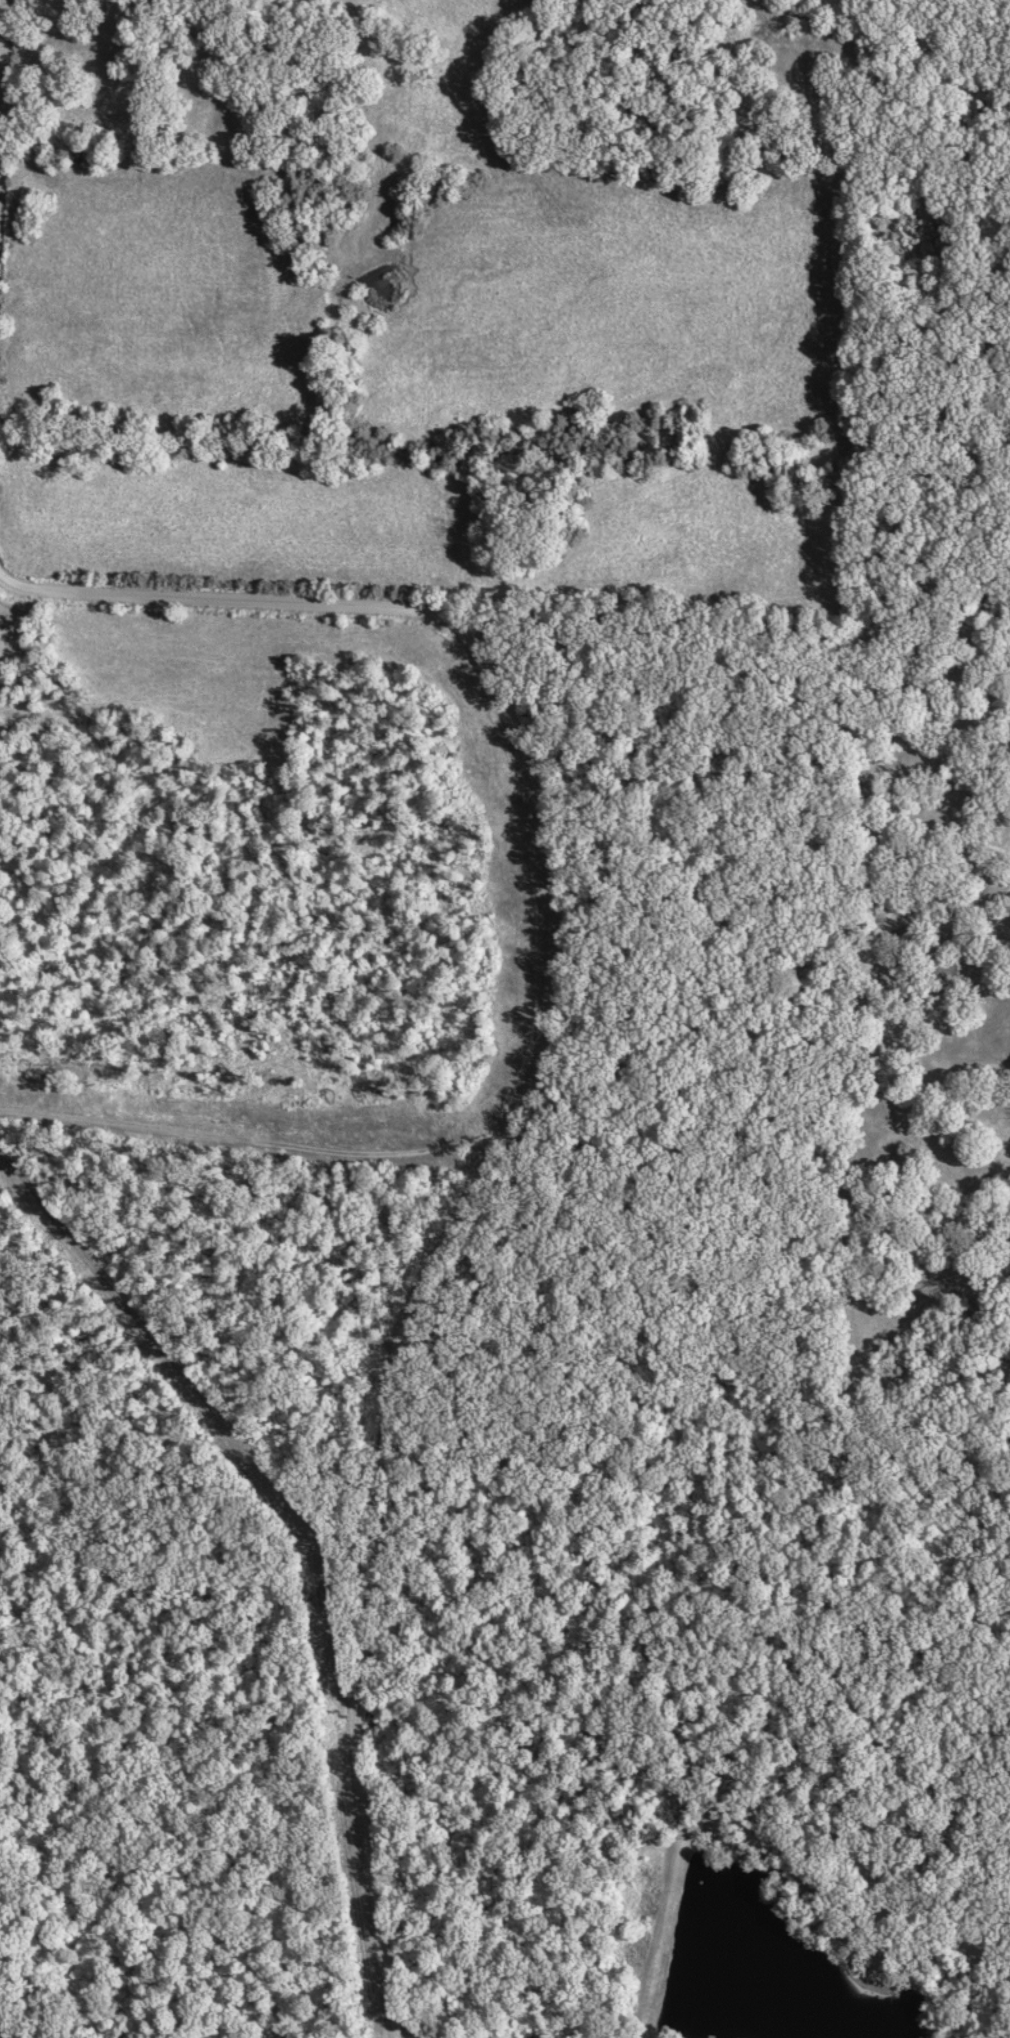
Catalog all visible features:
road: (2, 190)
road: (990, 860)
road: (994, 889)
road: (730, 1010)
road: (516, 1094)
road: (533, 1107)

